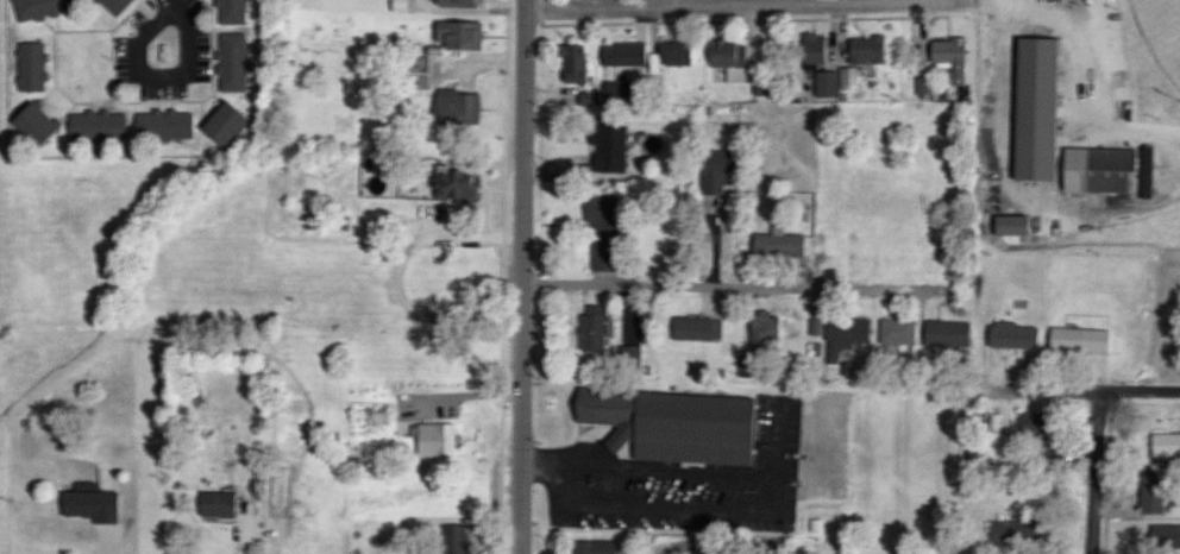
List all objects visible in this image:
road: (960, 0)
building: (456, 1)
road: (165, 2)
building: (114, 5)
road: (743, 6)
building: (40, 7)
building: (231, 11)
park: (1161, 31)
building: (458, 34)
road: (1093, 43)
building: (812, 48)
building: (866, 49)
building: (623, 53)
building: (674, 53)
park: (1130, 55)
building: (949, 56)
building: (729, 58)
building: (232, 62)
building: (572, 62)
building: (31, 65)
building: (416, 71)
road: (157, 75)
building: (848, 77)
building: (826, 83)
building: (924, 84)
building: (615, 87)
building: (589, 97)
building: (454, 106)
building: (1032, 108)
building: (32, 122)
building: (222, 122)
building: (162, 124)
building: (96, 125)
building: (609, 144)
building: (717, 170)
building: (1097, 170)
building: (1144, 171)
building: (452, 183)
building: (1008, 224)
building: (601, 231)
building: (777, 245)
road: (525, 276)
road: (737, 289)
building: (591, 328)
building: (695, 328)
building: (761, 328)
building: (897, 330)
building: (946, 333)
building: (843, 335)
building: (1011, 335)
building: (1078, 339)
building: (629, 357)
road: (1069, 396)
building: (1030, 422)
building: (672, 424)
building: (434, 440)
building: (1165, 445)
building: (1042, 446)
road: (623, 452)
road: (1098, 474)
building: (1150, 491)
building: (215, 504)
building: (89, 505)
building: (1016, 530)
building: (1165, 536)
building: (453, 539)
road: (111, 541)
building: (592, 547)

